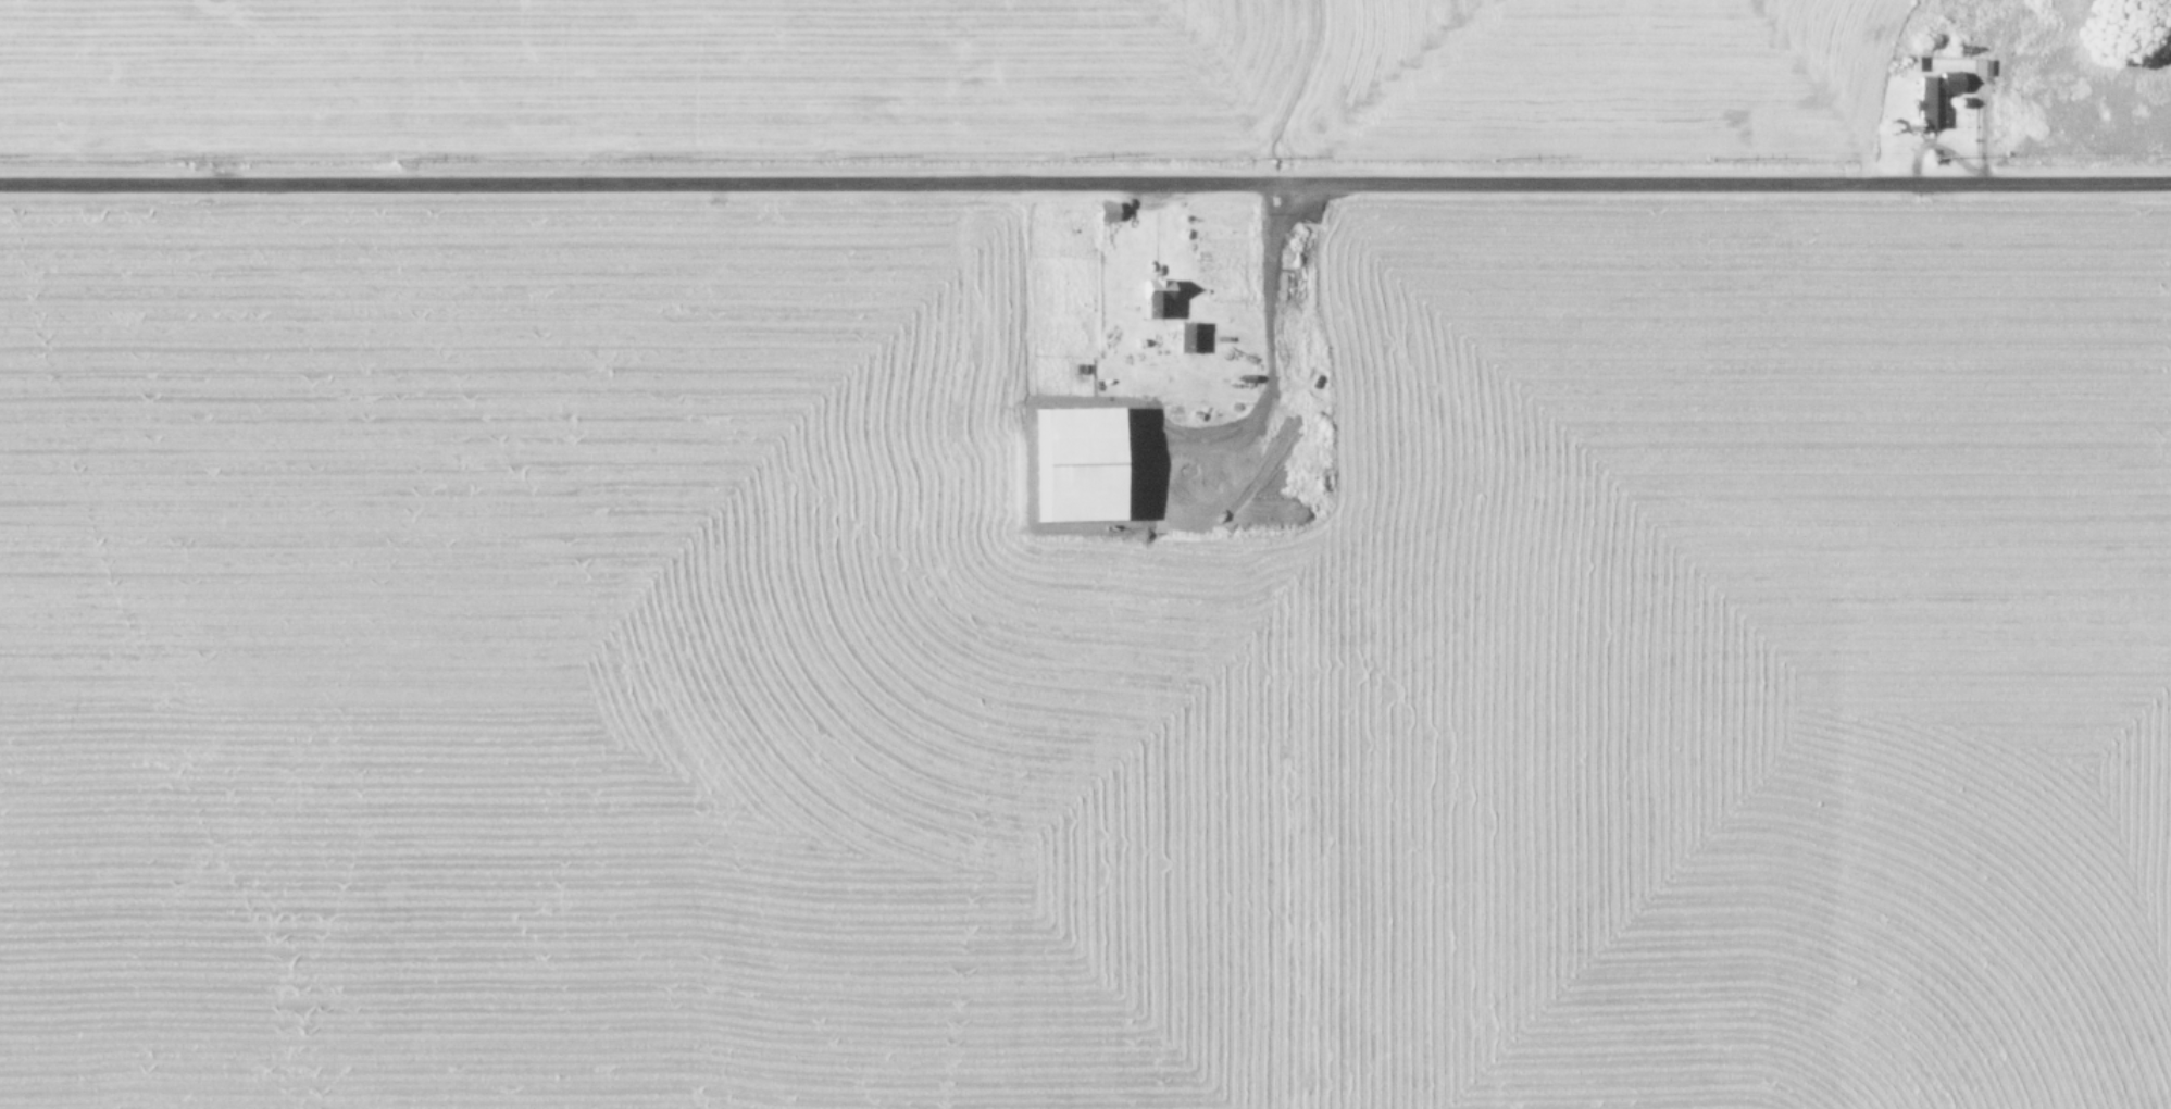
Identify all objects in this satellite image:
building: (1977, 65)
building: (1930, 96)
road: (1085, 160)
crop: (1085, 554)

